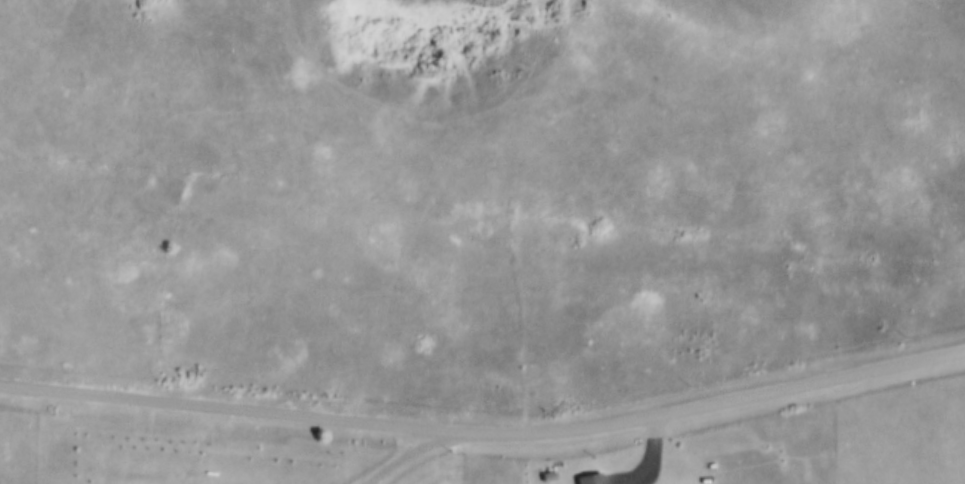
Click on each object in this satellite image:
road: (485, 428)
road: (395, 457)
road: (655, 459)
building: (555, 470)
building: (597, 475)

